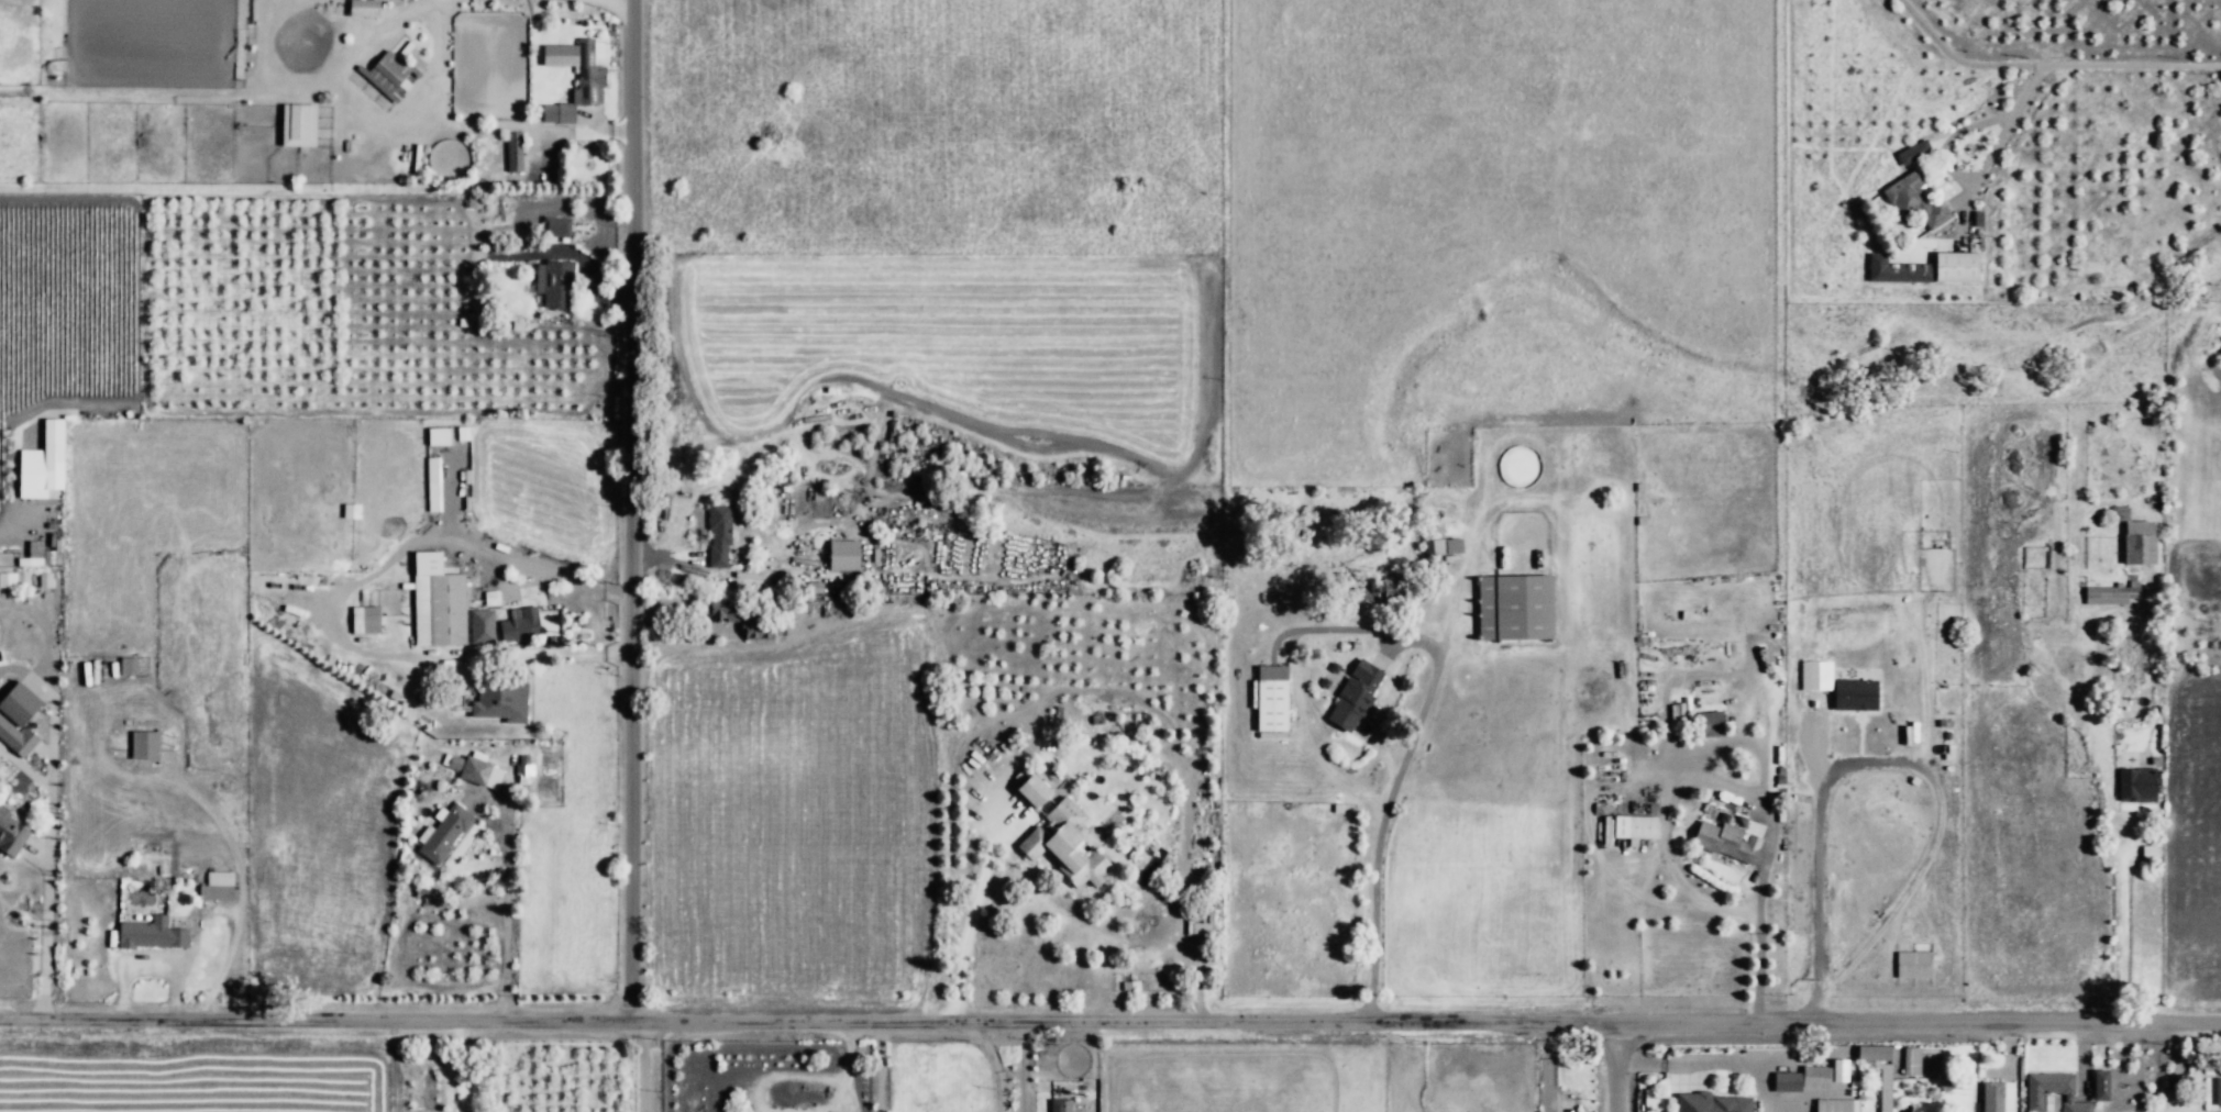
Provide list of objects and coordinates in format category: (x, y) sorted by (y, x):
building: (362, 8)
road: (599, 9)
road: (1956, 60)
road: (2037, 73)
building: (387, 74)
building: (588, 75)
building: (567, 113)
building: (297, 125)
road: (407, 130)
road: (1954, 138)
building: (515, 153)
building: (1912, 153)
building: (1907, 196)
building: (475, 202)
building: (1938, 216)
building: (566, 229)
building: (523, 237)
building: (1956, 267)
building: (1894, 271)
building: (552, 280)
crop: (1584, 285)
crop: (214, 302)
building: (437, 436)
building: (32, 471)
building: (431, 485)
building: (350, 511)
building: (721, 537)
building: (2140, 542)
building: (1446, 547)
building: (32, 555)
building: (843, 555)
road: (627, 556)
building: (13, 580)
road: (712, 580)
road: (520, 592)
building: (1379, 592)
building: (2113, 596)
building: (489, 599)
building: (1515, 609)
building: (439, 610)
building: (723, 613)
building: (366, 621)
building: (482, 630)
building: (756, 631)
building: (511, 632)
road: (1355, 635)
building: (126, 667)
road: (1721, 674)
building: (1814, 676)
building: (1853, 696)
building: (504, 697)
building: (1356, 697)
building: (26, 700)
building: (1272, 700)
building: (830, 713)
building: (1676, 719)
building: (15, 726)
building: (1709, 726)
road: (1313, 734)
building: (144, 744)
building: (475, 767)
building: (2135, 787)
road: (1738, 794)
road: (54, 797)
building: (1635, 829)
building: (835, 832)
building: (1606, 832)
building: (13, 835)
building: (443, 835)
building: (1060, 837)
building: (1727, 841)
road: (1369, 843)
road: (2120, 848)
building: (2150, 856)
building: (221, 882)
road: (506, 904)
road: (970, 915)
building: (153, 933)
building: (1693, 947)
building: (1912, 965)
road: (1110, 1031)
building: (1875, 1054)
building: (1912, 1064)
road: (995, 1068)
building: (1838, 1070)
road: (2197, 1070)
road: (458, 1071)
road: (864, 1071)
road: (1027, 1071)
road: (1614, 1072)
building: (1816, 1078)
crop: (197, 1079)
building: (1787, 1083)
building: (2103, 1087)
building: (1886, 1089)
building: (2054, 1091)
building: (2217, 1091)
building: (1996, 1097)
building: (1714, 1103)
building: (1062, 1107)
building: (1837, 1107)

